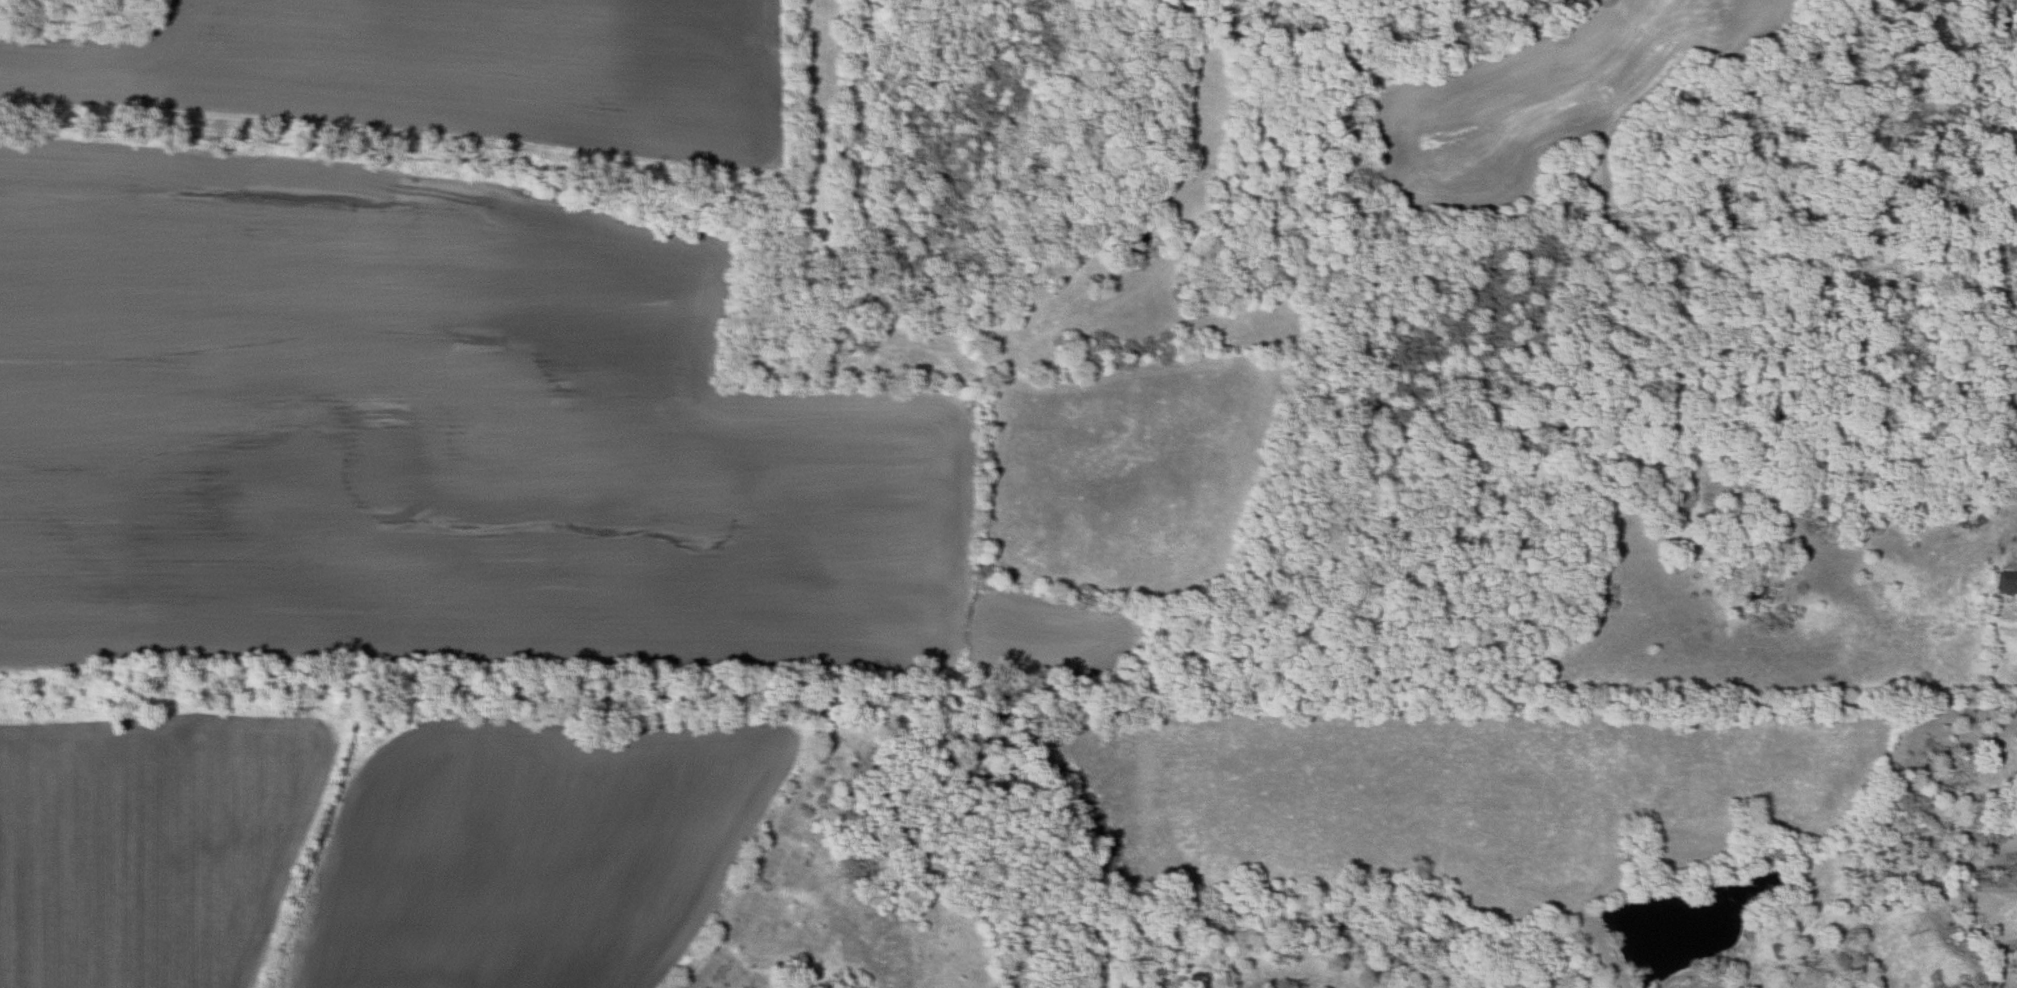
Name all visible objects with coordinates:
building: (2005, 582)

